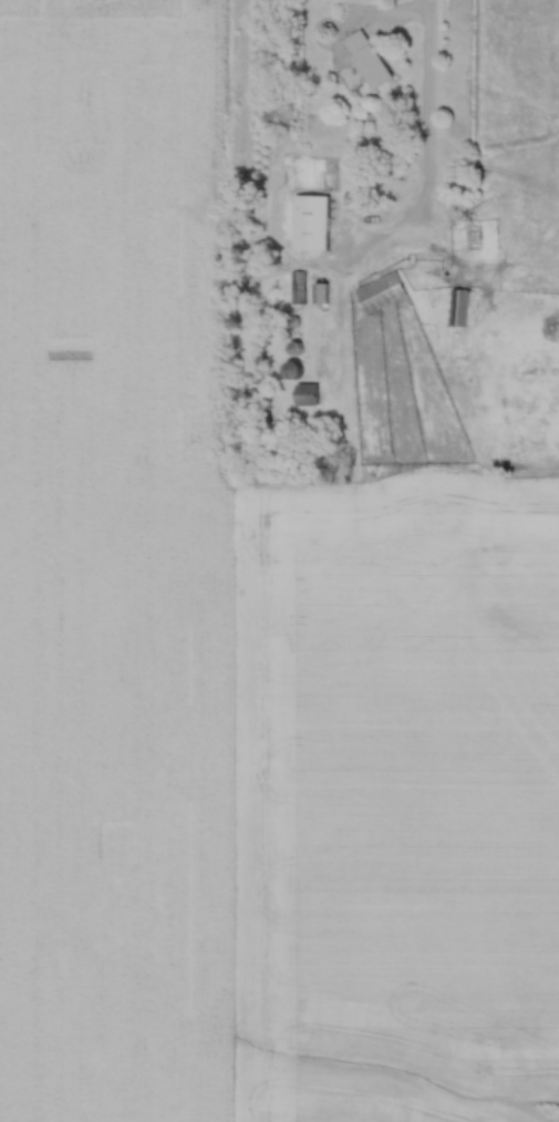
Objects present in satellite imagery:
road: (398, 21)
building: (369, 61)
building: (312, 224)
building: (382, 294)
building: (460, 310)
building: (308, 397)

